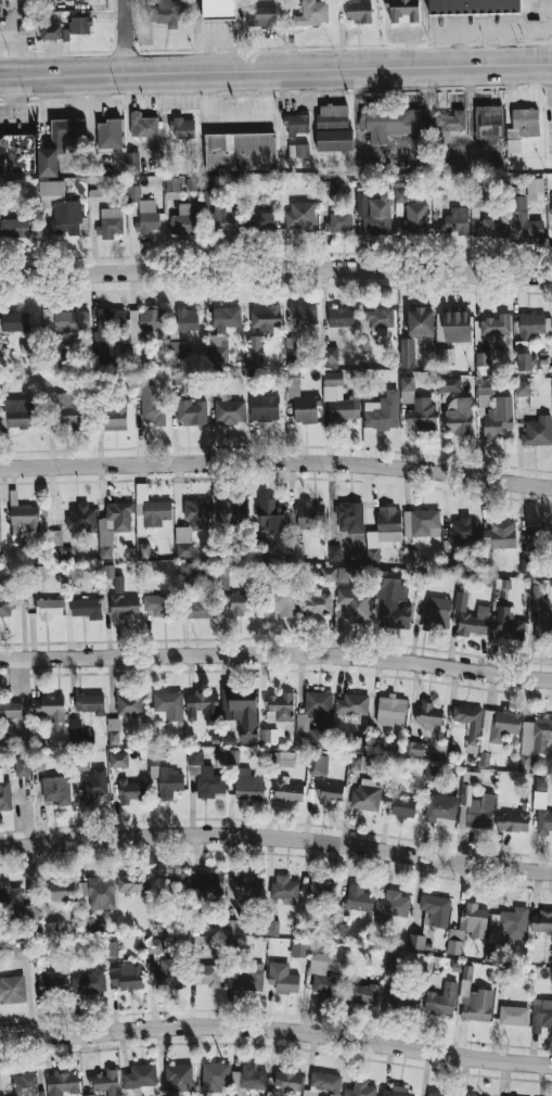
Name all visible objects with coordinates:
building: (473, 7)
building: (219, 9)
building: (359, 11)
building: (402, 11)
building: (164, 12)
building: (312, 13)
building: (261, 16)
building: (77, 26)
building: (51, 31)
road: (479, 33)
road: (127, 36)
road: (545, 42)
road: (508, 47)
road: (473, 48)
road: (24, 50)
road: (275, 67)
building: (333, 116)
building: (451, 120)
building: (488, 120)
building: (297, 123)
building: (389, 123)
building: (524, 123)
building: (143, 125)
building: (182, 128)
building: (110, 133)
building: (334, 140)
building: (59, 143)
building: (299, 150)
building: (241, 151)
building: (16, 153)
road: (391, 153)
building: (132, 162)
building: (171, 184)
building: (328, 187)
building: (51, 188)
building: (95, 189)
building: (535, 189)
building: (403, 192)
building: (133, 193)
building: (478, 200)
building: (147, 216)
building: (300, 216)
building: (377, 216)
building: (66, 217)
building: (223, 217)
building: (415, 219)
building: (184, 221)
building: (262, 221)
building: (457, 221)
building: (110, 222)
building: (339, 222)
building: (526, 224)
building: (491, 227)
building: (14, 228)
road: (275, 270)
building: (303, 314)
building: (341, 317)
building: (266, 318)
building: (65, 319)
building: (187, 319)
building: (380, 319)
building: (15, 321)
building: (420, 321)
building: (496, 324)
building: (530, 324)
building: (453, 326)
building: (106, 329)
building: (222, 331)
building: (254, 347)
building: (179, 349)
building: (407, 353)
building: (330, 354)
building: (444, 354)
building: (124, 355)
building: (524, 361)
building: (293, 377)
building: (407, 383)
building: (449, 384)
building: (484, 386)
building: (339, 398)
building: (527, 402)
building: (152, 406)
building: (265, 407)
building: (69, 409)
building: (305, 409)
building: (191, 411)
building: (229, 411)
building: (382, 411)
building: (20, 413)
building: (422, 413)
building: (115, 418)
building: (460, 418)
building: (498, 418)
building: (538, 431)
building: (370, 436)
road: (277, 461)
building: (151, 509)
building: (232, 510)
building: (25, 514)
building: (272, 514)
building: (309, 514)
building: (350, 517)
building: (81, 519)
building: (422, 523)
building: (114, 525)
building: (192, 526)
building: (464, 531)
building: (384, 532)
building: (499, 535)
building: (540, 539)
building: (143, 550)
building: (335, 552)
building: (526, 565)
building: (185, 569)
building: (223, 574)
building: (329, 574)
building: (343, 574)
building: (123, 600)
building: (243, 600)
building: (283, 601)
building: (316, 602)
building: (155, 603)
building: (393, 603)
building: (356, 604)
building: (7, 607)
building: (87, 608)
building: (203, 608)
building: (49, 609)
building: (541, 612)
building: (437, 613)
building: (470, 615)
building: (508, 623)
road: (277, 654)
building: (90, 703)
building: (201, 703)
building: (129, 704)
building: (351, 704)
building: (168, 705)
building: (280, 705)
building: (319, 706)
building: (10, 708)
building: (50, 708)
building: (242, 711)
building: (390, 711)
building: (428, 715)
building: (470, 722)
building: (113, 727)
building: (499, 728)
building: (310, 729)
building: (78, 734)
building: (269, 736)
building: (534, 740)
building: (359, 743)
building: (414, 748)
building: (234, 757)
building: (118, 760)
building: (80, 762)
building: (362, 763)
building: (319, 764)
building: (23, 765)
building: (431, 773)
building: (471, 777)
building: (169, 781)
building: (209, 782)
building: (541, 783)
building: (94, 785)
building: (248, 785)
building: (132, 787)
building: (56, 790)
building: (287, 791)
building: (4, 792)
building: (330, 793)
building: (365, 794)
building: (403, 807)
building: (440, 807)
building: (480, 812)
building: (542, 813)
building: (513, 821)
road: (277, 836)
building: (133, 882)
building: (174, 882)
building: (208, 882)
building: (244, 887)
building: (286, 889)
building: (62, 890)
building: (321, 891)
building: (101, 892)
building: (359, 899)
building: (391, 906)
building: (15, 907)
building: (435, 910)
building: (541, 921)
building: (165, 923)
building: (88, 926)
building: (270, 927)
building: (467, 927)
building: (338, 928)
building: (51, 929)
building: (505, 929)
building: (416, 941)
building: (155, 945)
building: (113, 948)
building: (299, 950)
building: (20, 951)
building: (395, 961)
building: (166, 972)
building: (323, 972)
building: (126, 974)
building: (206, 974)
building: (246, 978)
building: (283, 978)
building: (88, 982)
building: (53, 984)
building: (12, 990)
building: (361, 993)
building: (401, 998)
building: (441, 999)
building: (477, 1006)
building: (513, 1015)
building: (541, 1015)
road: (277, 1029)
building: (140, 1076)
building: (215, 1076)
building: (179, 1078)
building: (253, 1078)
building: (288, 1080)
building: (106, 1082)
building: (62, 1083)
building: (323, 1084)
building: (27, 1085)
building: (360, 1088)
building: (396, 1092)
building: (271, 1094)
building: (436, 1094)
building: (90, 1095)

